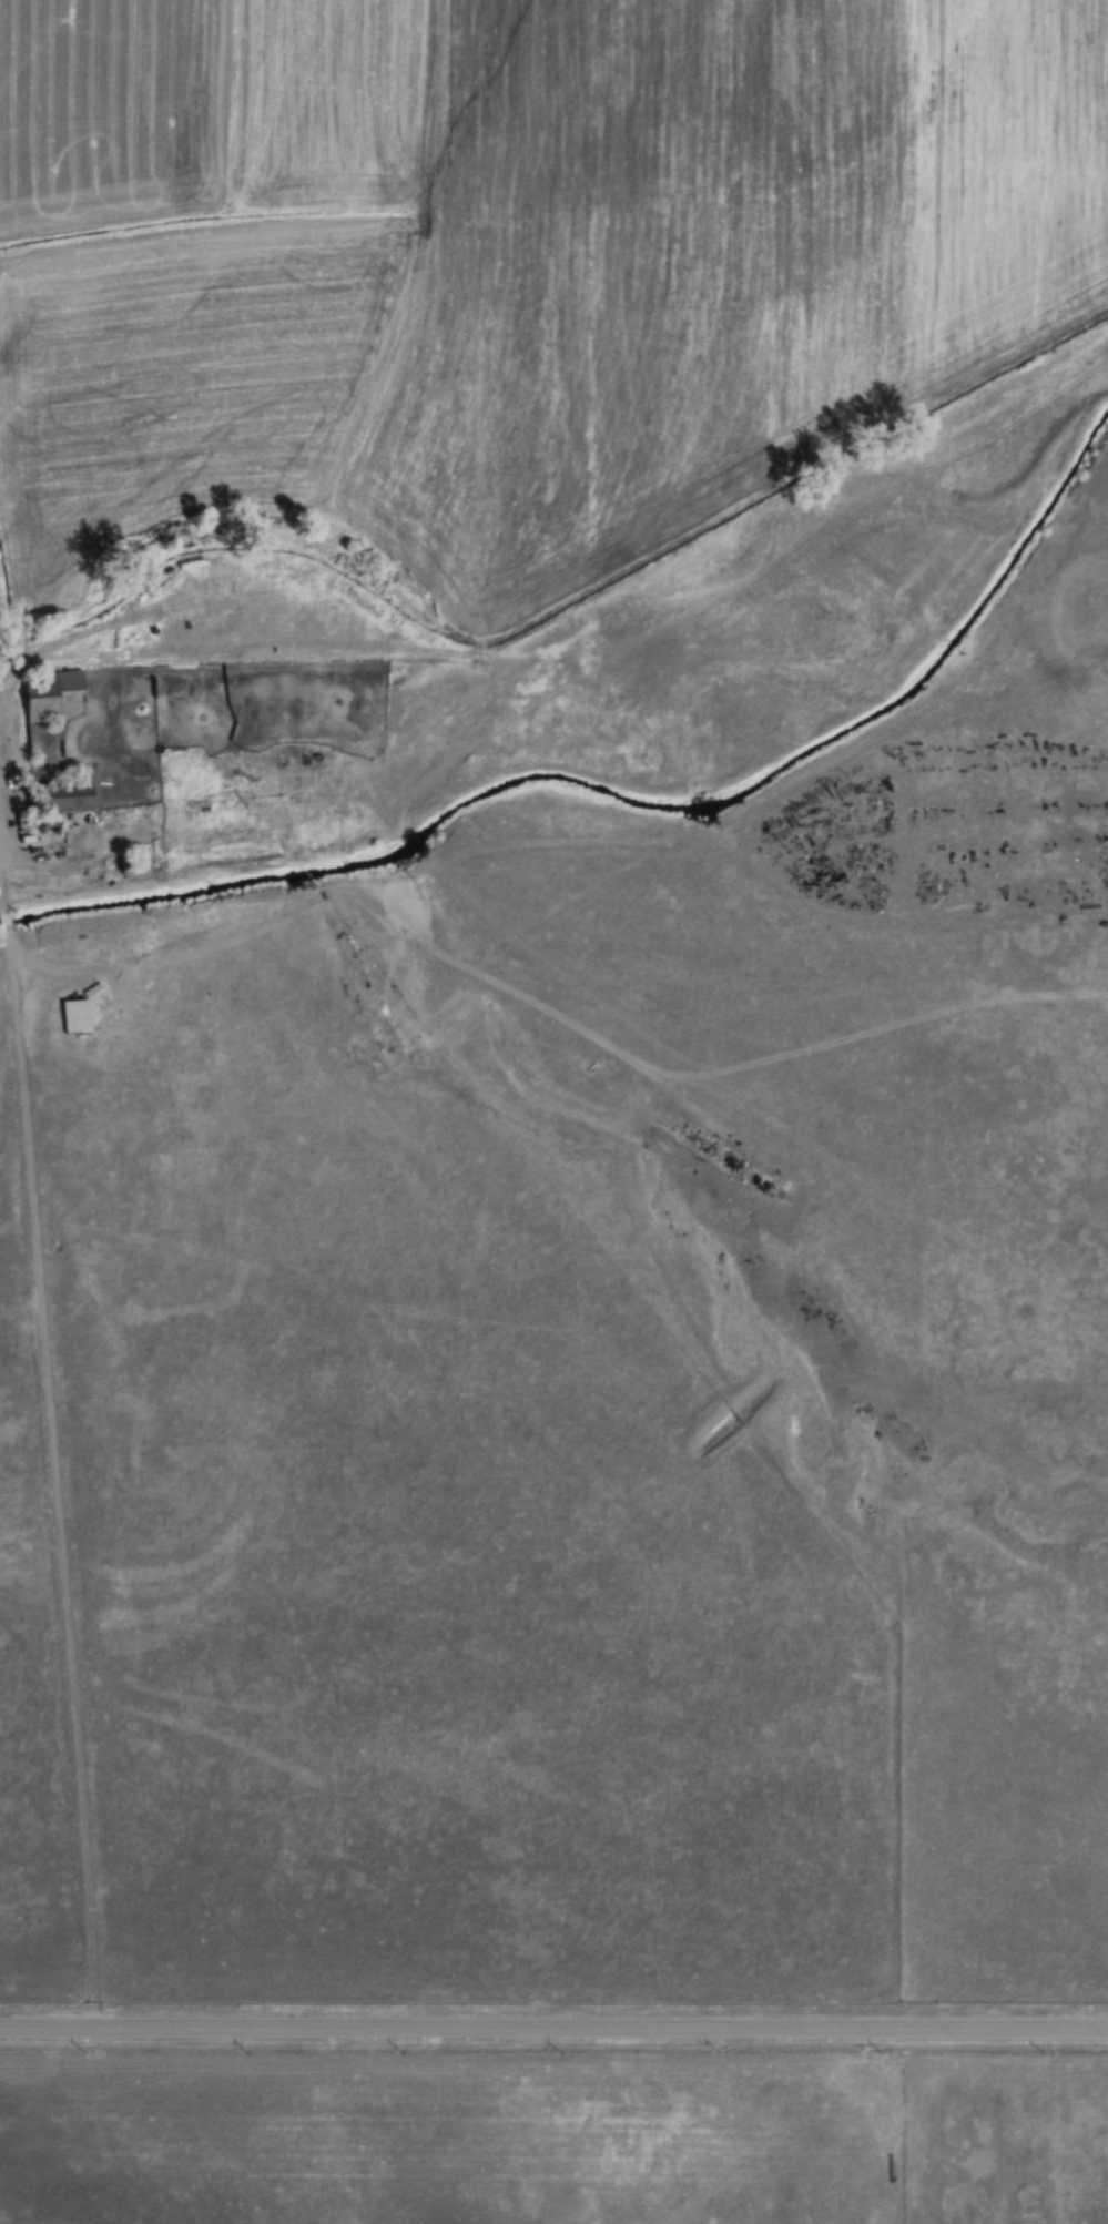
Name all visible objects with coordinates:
building: (51, 693)
building: (69, 799)
road: (4, 921)
building: (79, 1017)
road: (53, 1483)
road: (553, 2030)

